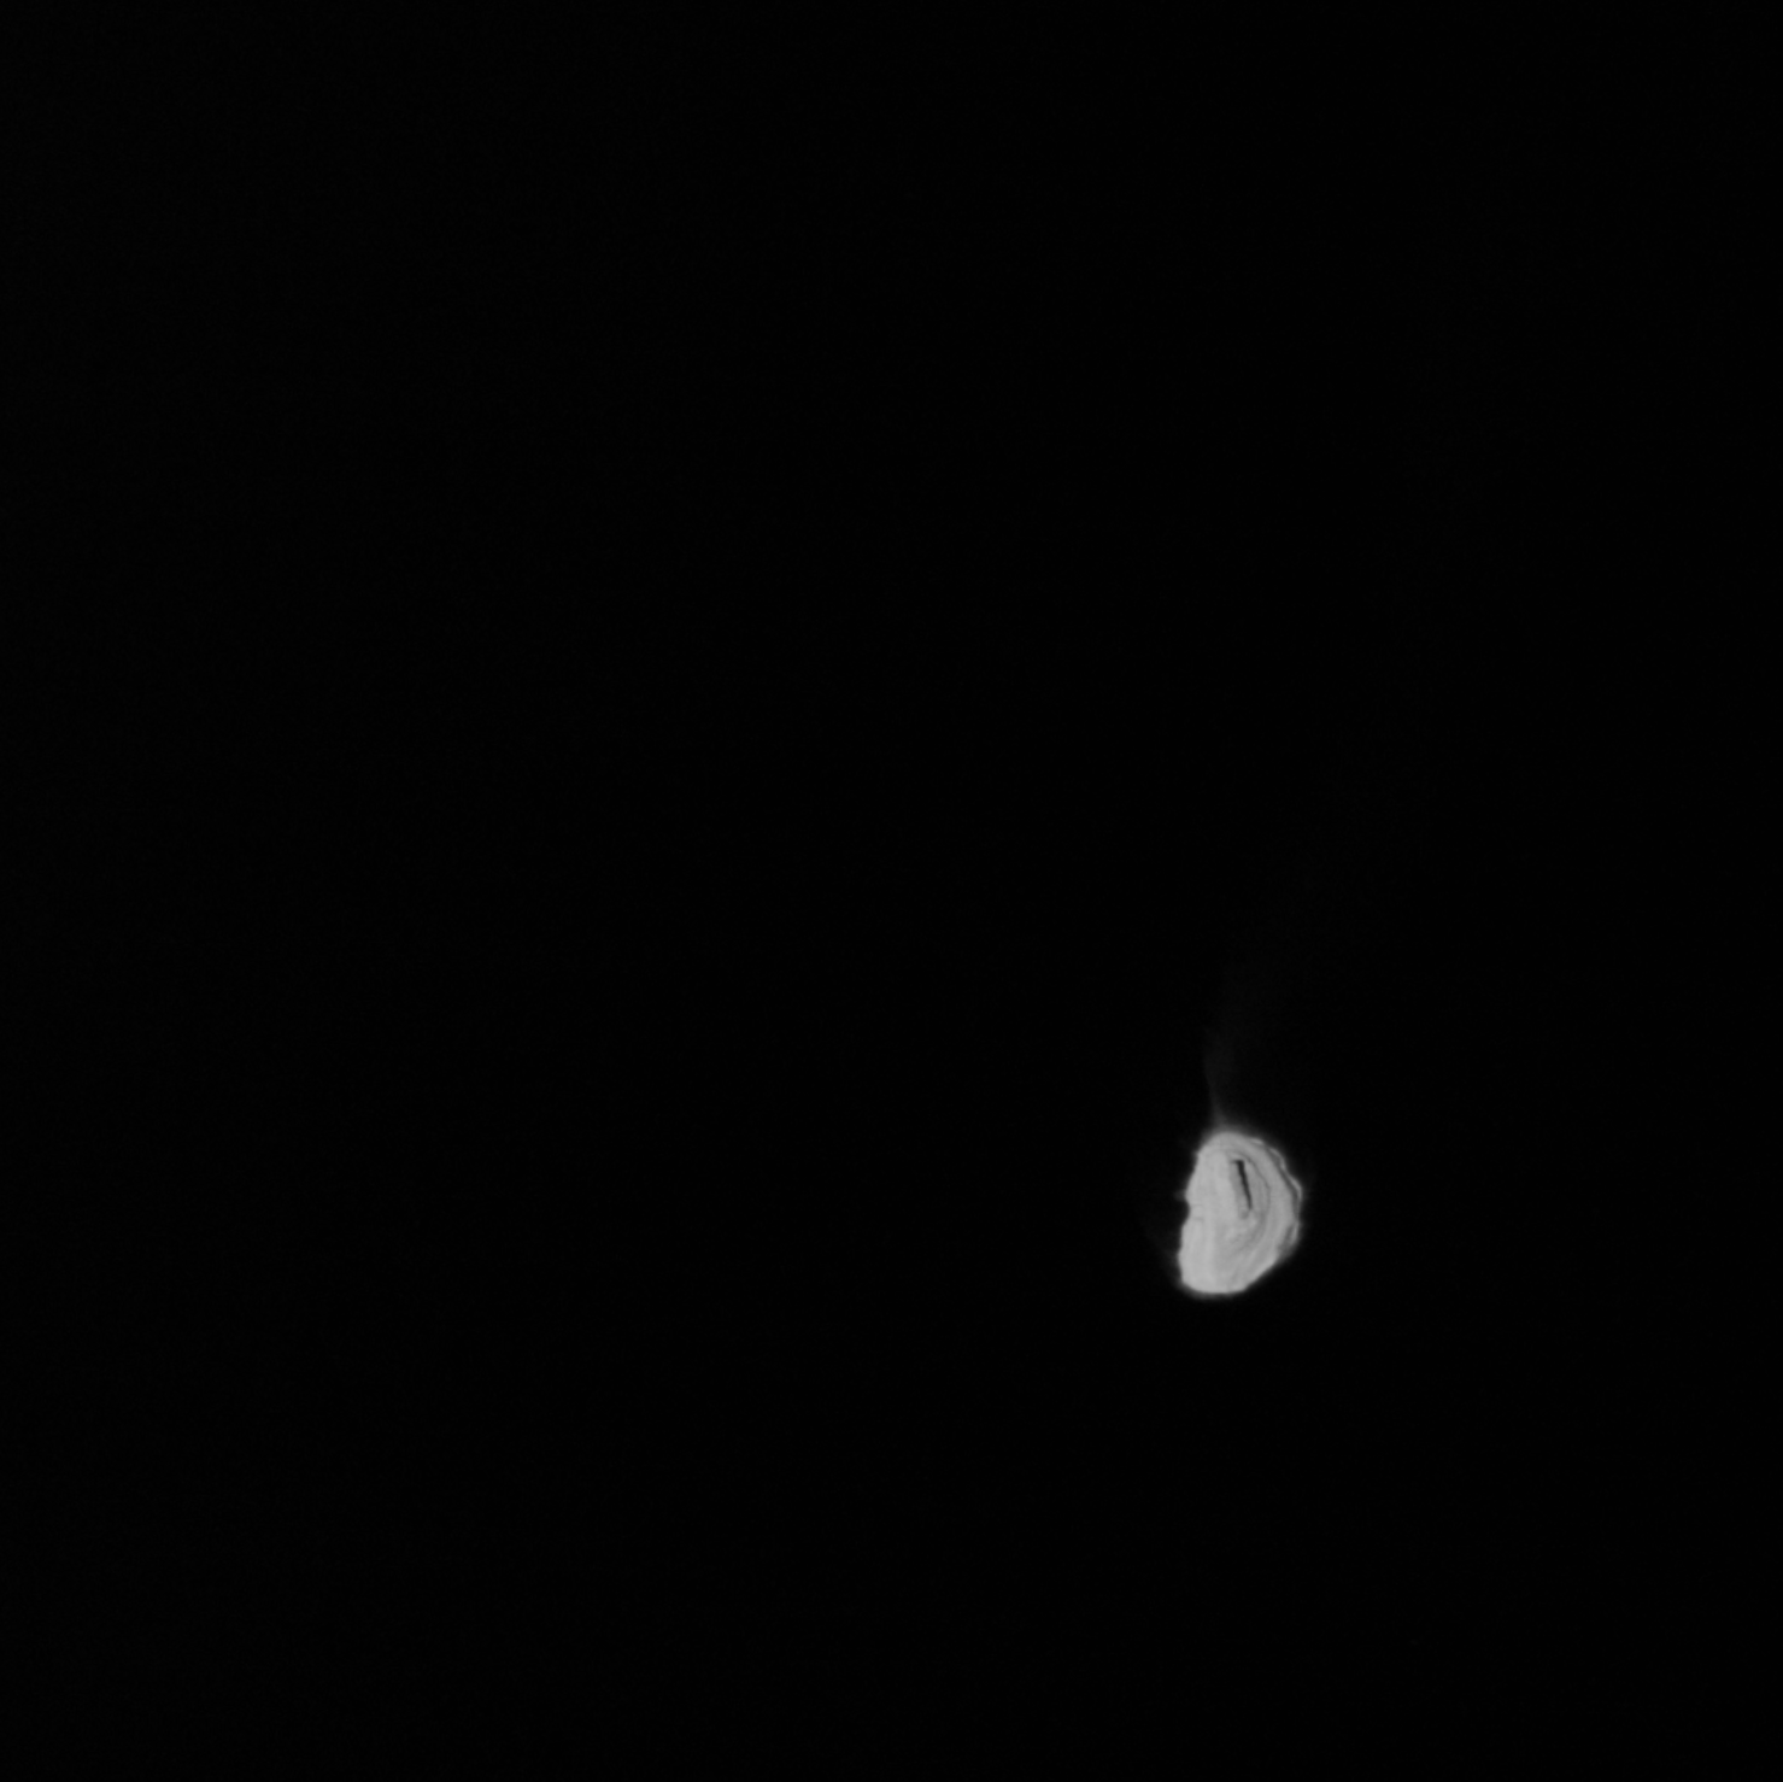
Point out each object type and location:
building: (762, 1337)

